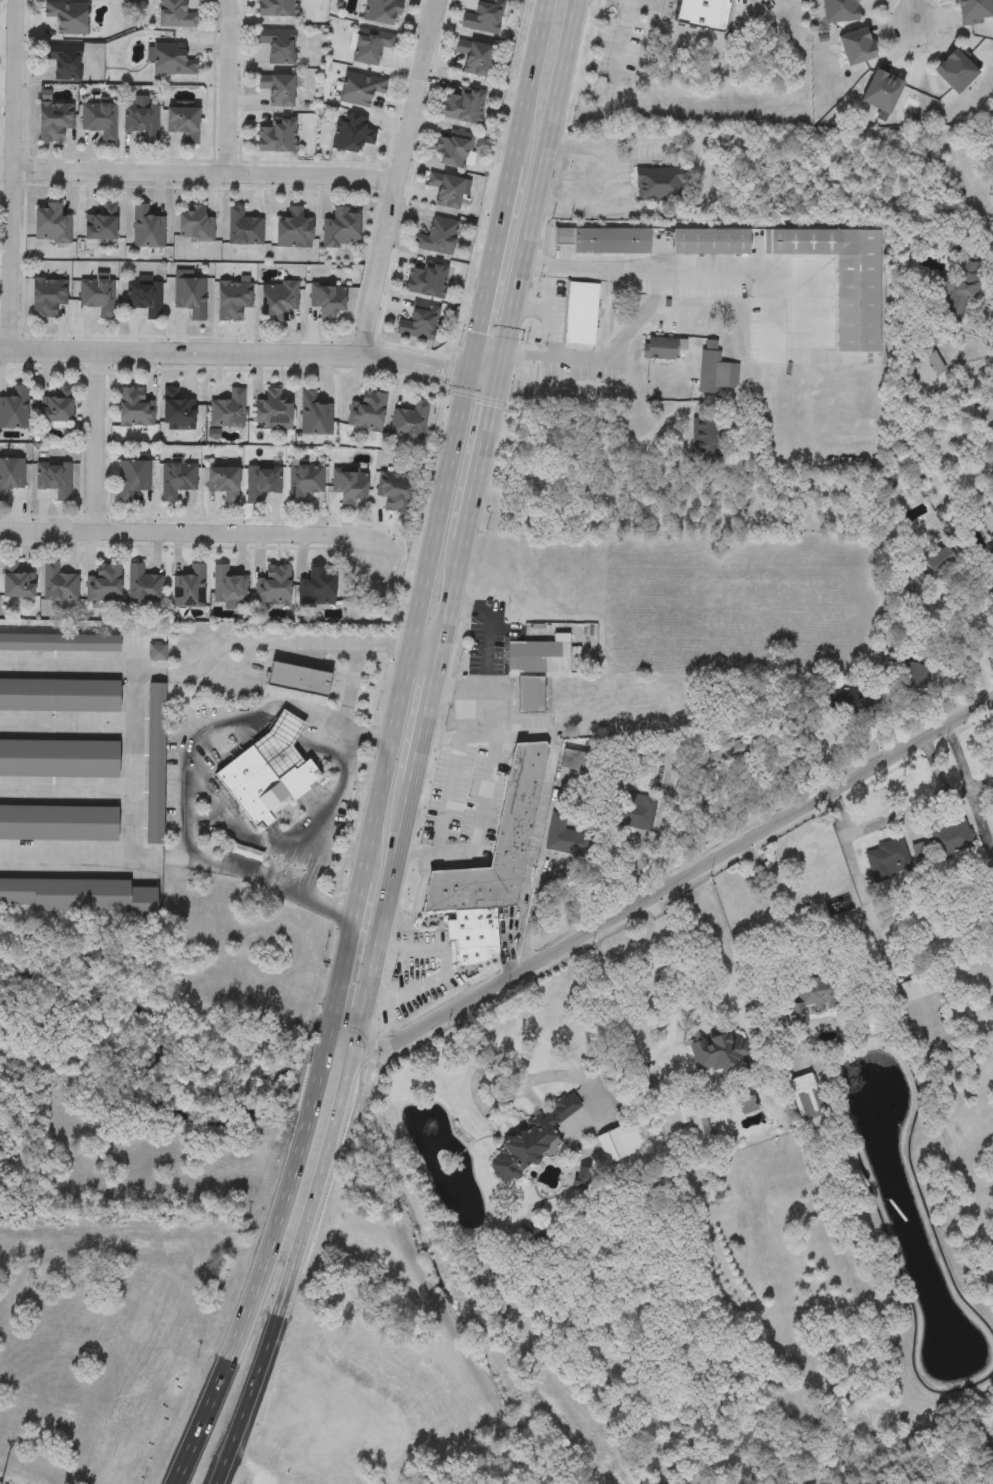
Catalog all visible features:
road: (751, 5)
building: (277, 8)
building: (841, 9)
building: (975, 10)
road: (910, 11)
building: (382, 12)
building: (701, 13)
building: (175, 15)
building: (484, 17)
building: (68, 18)
road: (623, 35)
building: (858, 45)
building: (278, 46)
building: (371, 46)
building: (475, 58)
building: (173, 60)
building: (64, 62)
building: (957, 69)
road: (226, 87)
building: (278, 89)
building: (361, 89)
building: (883, 89)
building: (464, 106)
building: (142, 119)
building: (100, 120)
building: (55, 121)
building: (184, 123)
building: (353, 133)
building: (276, 136)
building: (453, 148)
road: (706, 170)
road: (204, 173)
road: (10, 175)
road: (398, 177)
building: (659, 181)
road: (616, 184)
building: (445, 190)
building: (53, 224)
building: (102, 224)
building: (196, 225)
building: (243, 227)
building: (147, 228)
building: (294, 229)
building: (341, 229)
building: (438, 237)
building: (602, 237)
building: (710, 239)
road: (706, 270)
building: (843, 276)
building: (427, 280)
building: (959, 287)
building: (48, 297)
building: (98, 297)
building: (145, 297)
building: (191, 297)
building: (233, 300)
building: (278, 300)
building: (328, 300)
building: (581, 311)
road: (547, 316)
building: (419, 323)
building: (662, 346)
road: (248, 353)
road: (607, 358)
building: (928, 365)
building: (715, 369)
traffic signals: (466, 374)
traffic signals: (494, 379)
building: (58, 407)
building: (136, 408)
building: (178, 409)
building: (15, 410)
building: (229, 411)
building: (273, 412)
building: (368, 412)
building: (314, 416)
building: (409, 421)
building: (704, 436)
road: (591, 438)
road: (93, 441)
building: (11, 477)
building: (55, 480)
building: (133, 480)
building: (177, 481)
building: (304, 482)
building: (224, 483)
building: (261, 483)
building: (349, 486)
building: (395, 492)
road: (435, 522)
road: (464, 523)
road: (191, 532)
building: (935, 563)
building: (18, 582)
building: (58, 584)
building: (105, 584)
building: (143, 586)
building: (274, 586)
building: (228, 588)
building: (318, 588)
building: (189, 589)
road: (960, 605)
road: (490, 621)
road: (304, 642)
building: (60, 643)
building: (157, 652)
building: (540, 654)
road: (91, 665)
road: (245, 667)
building: (299, 679)
road: (346, 688)
building: (530, 694)
building: (60, 696)
road: (477, 700)
road: (458, 740)
building: (731, 751)
building: (59, 760)
road: (136, 761)
building: (579, 763)
building: (156, 764)
building: (267, 774)
road: (186, 779)
road: (981, 785)
road: (970, 789)
road: (957, 794)
building: (635, 810)
road: (905, 813)
road: (328, 821)
building: (58, 825)
road: (537, 830)
road: (478, 831)
building: (564, 835)
building: (943, 840)
building: (497, 842)
road: (91, 855)
building: (887, 857)
road: (662, 888)
building: (81, 897)
building: (474, 935)
road: (821, 939)
road: (443, 976)
building: (919, 985)
building: (810, 993)
road: (722, 1000)
building: (728, 1046)
building: (740, 1080)
building: (803, 1096)
building: (700, 1126)
building: (620, 1141)
building: (529, 1142)
road: (261, 1268)
road: (294, 1269)
building: (992, 1442)
building: (337, 1482)

